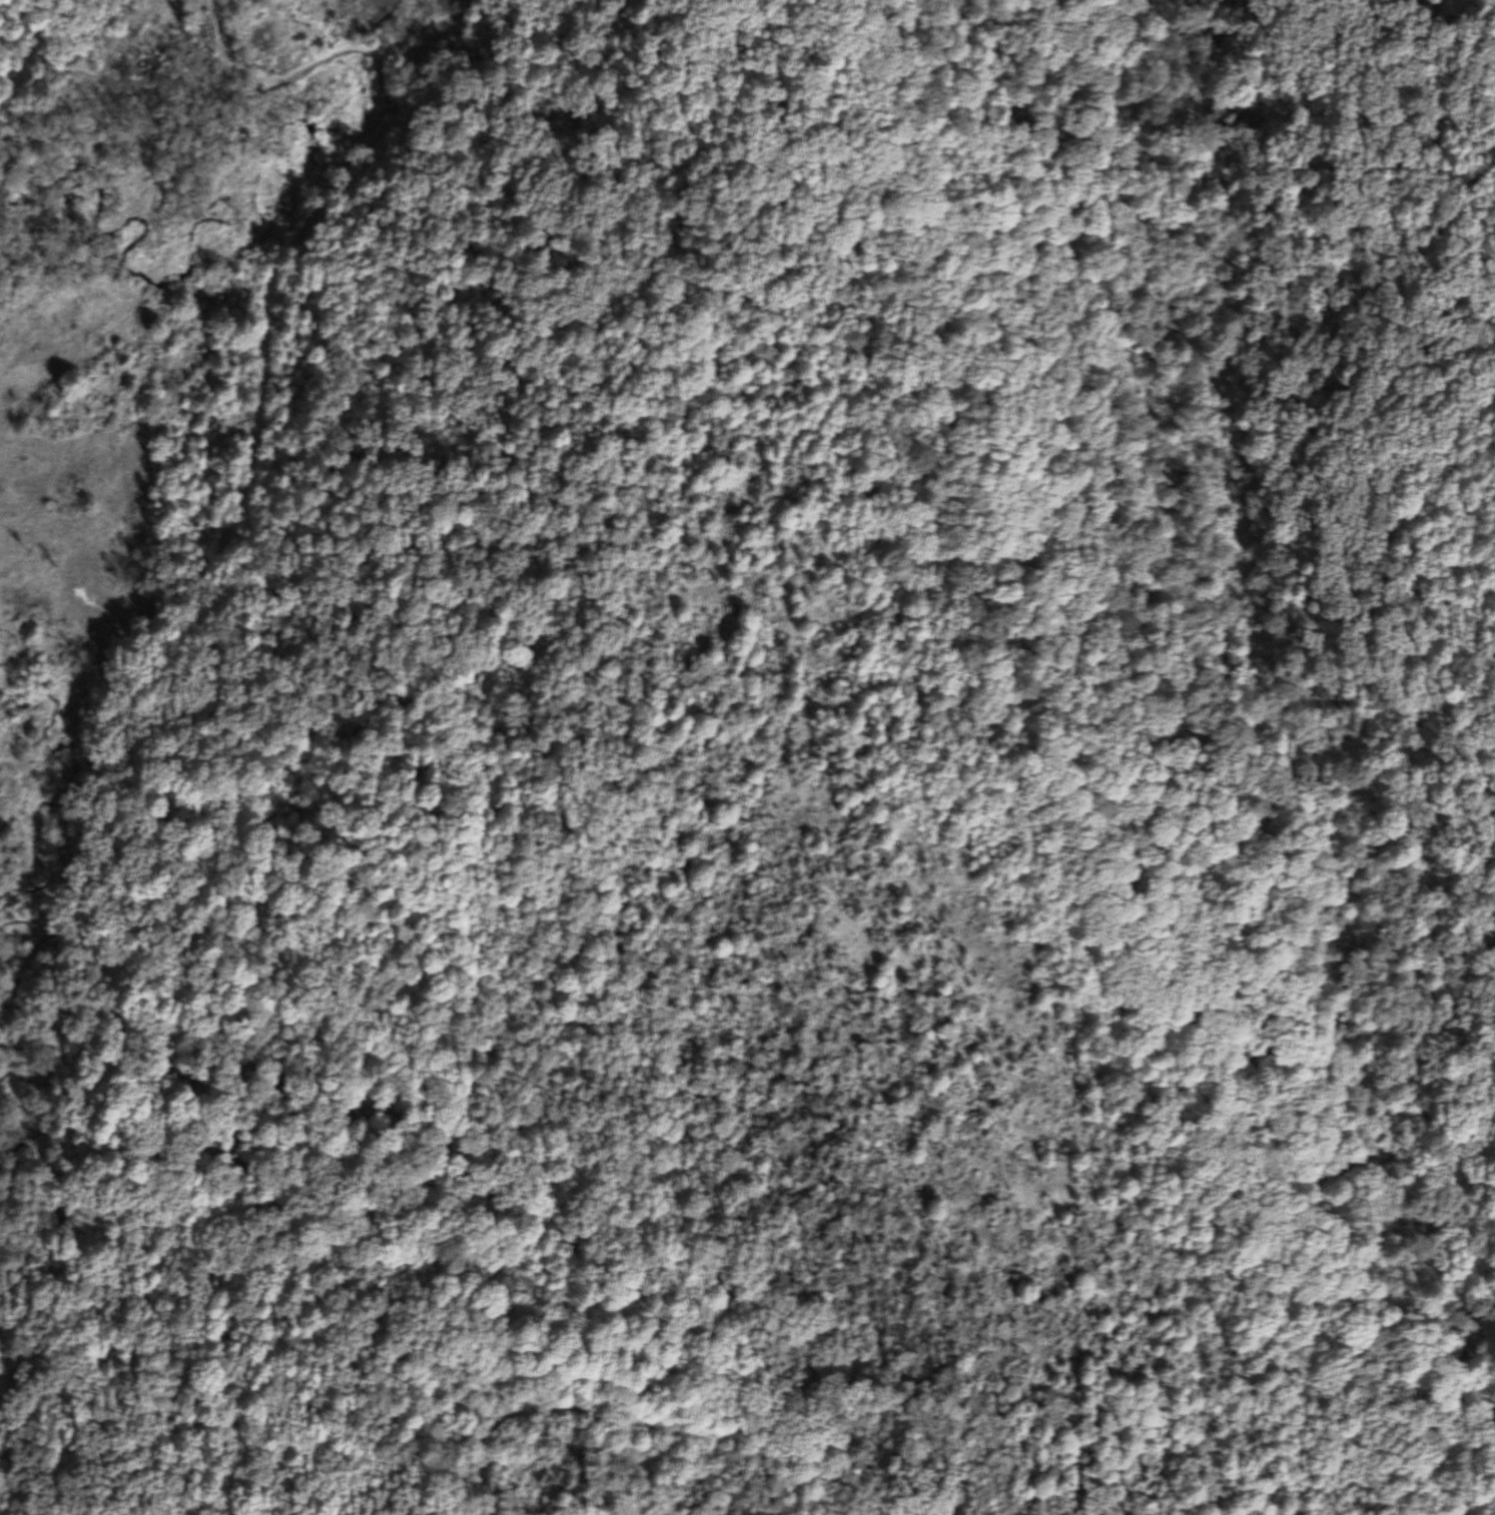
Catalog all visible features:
road: (431, 37)

